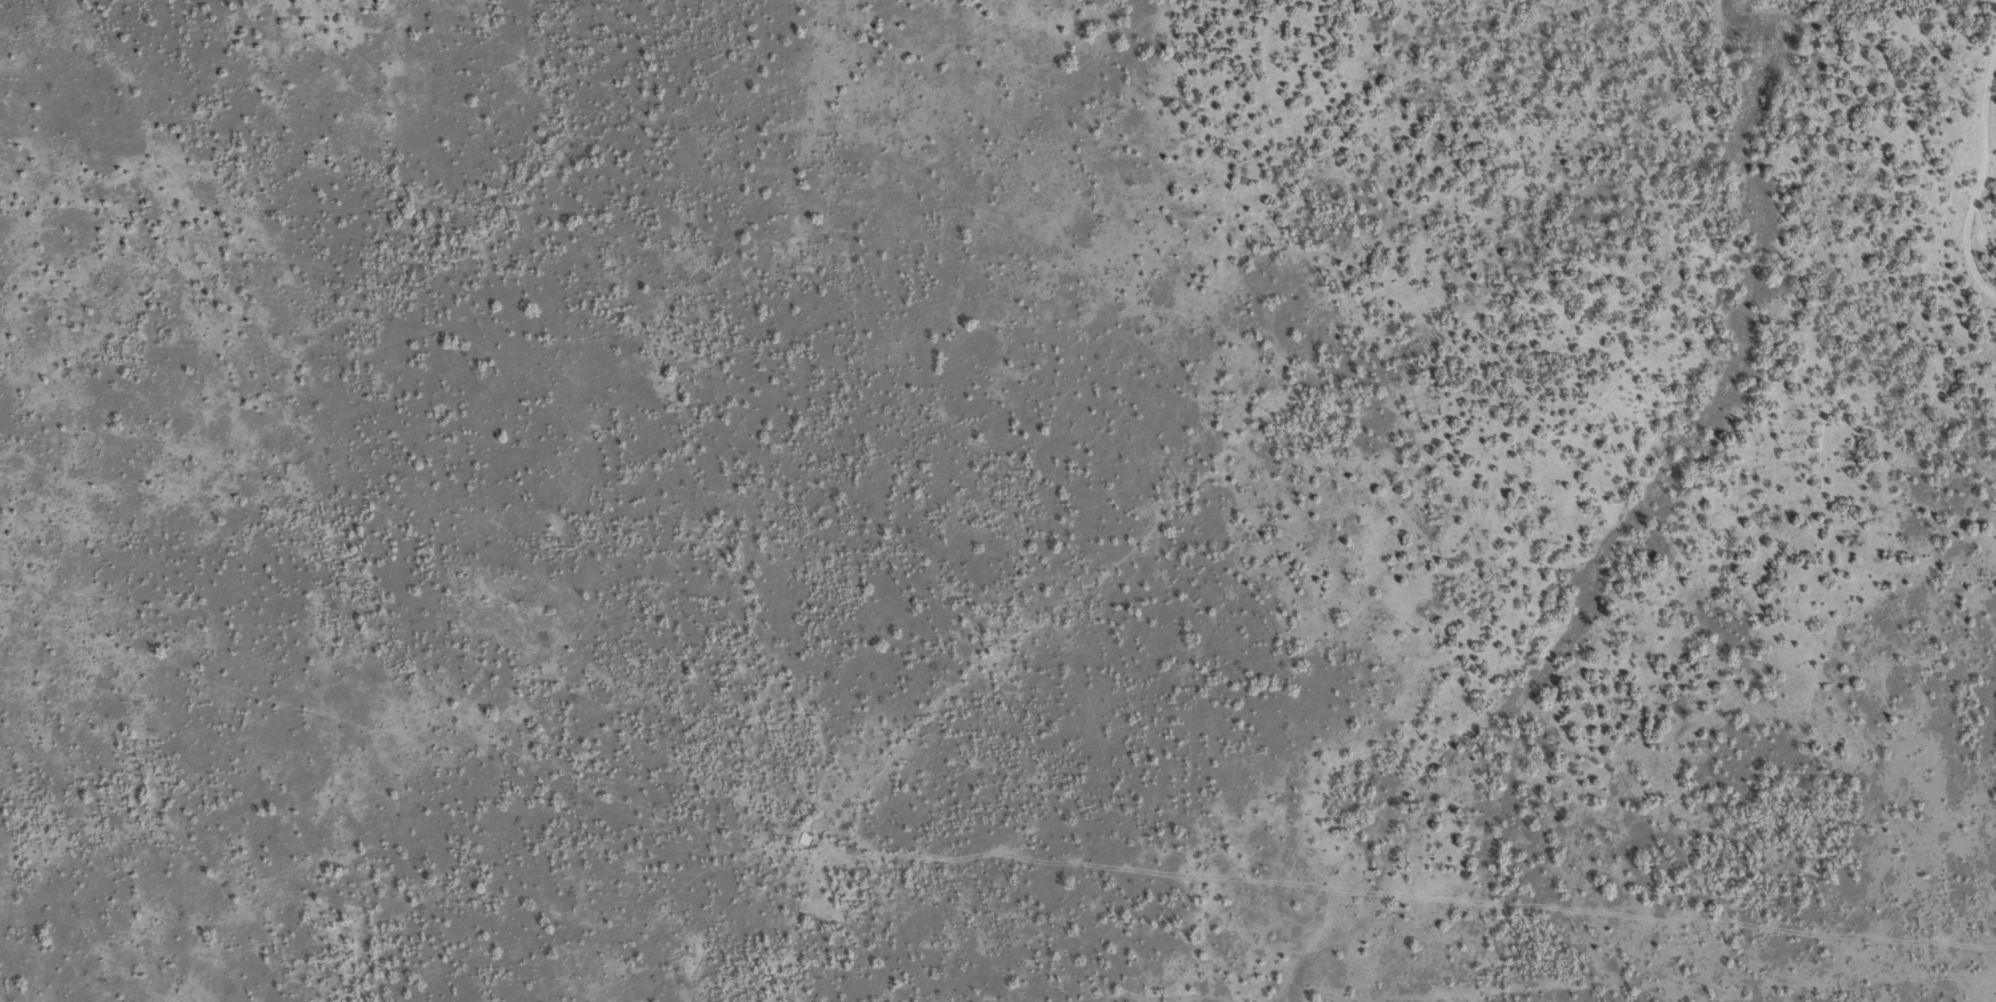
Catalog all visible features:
road: (1943, 271)
road: (1988, 348)

